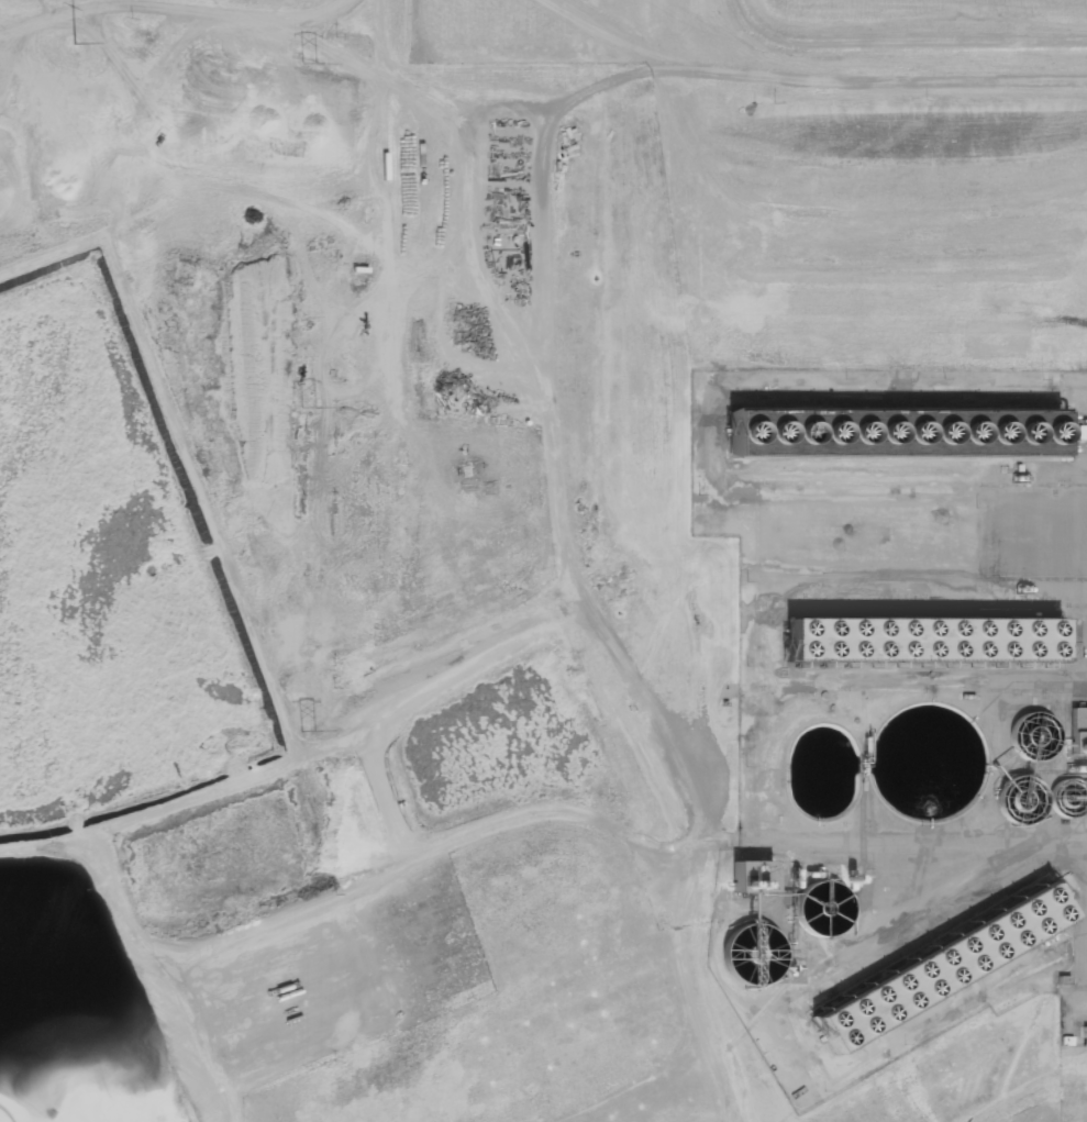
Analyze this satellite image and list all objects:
power tower: (70, 44)
power tower: (306, 60)
building: (899, 434)
power plant: (543, 560)
building: (927, 638)
power tower: (308, 730)
building: (938, 967)
building: (1084, 1036)

